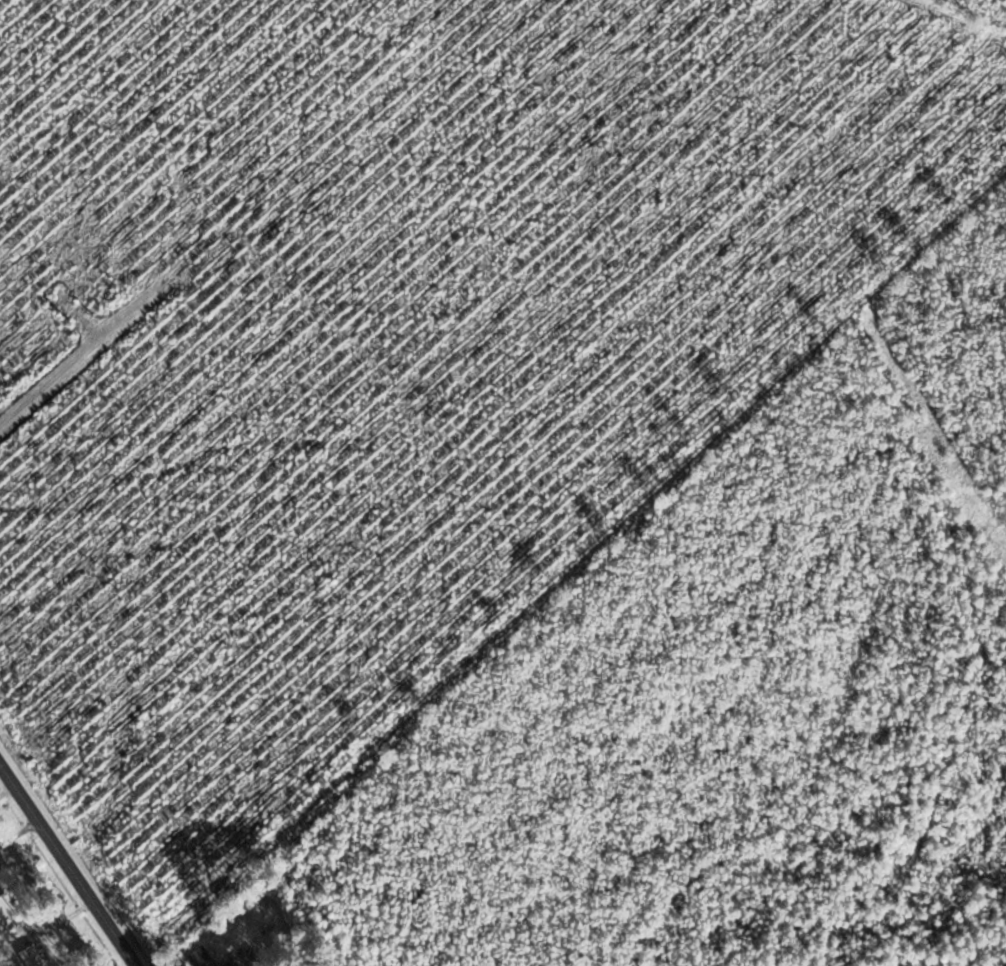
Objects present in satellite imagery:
road: (4, 788)
road: (16, 832)
road: (65, 870)
building: (1, 891)
building: (31, 956)
building: (201, 957)

